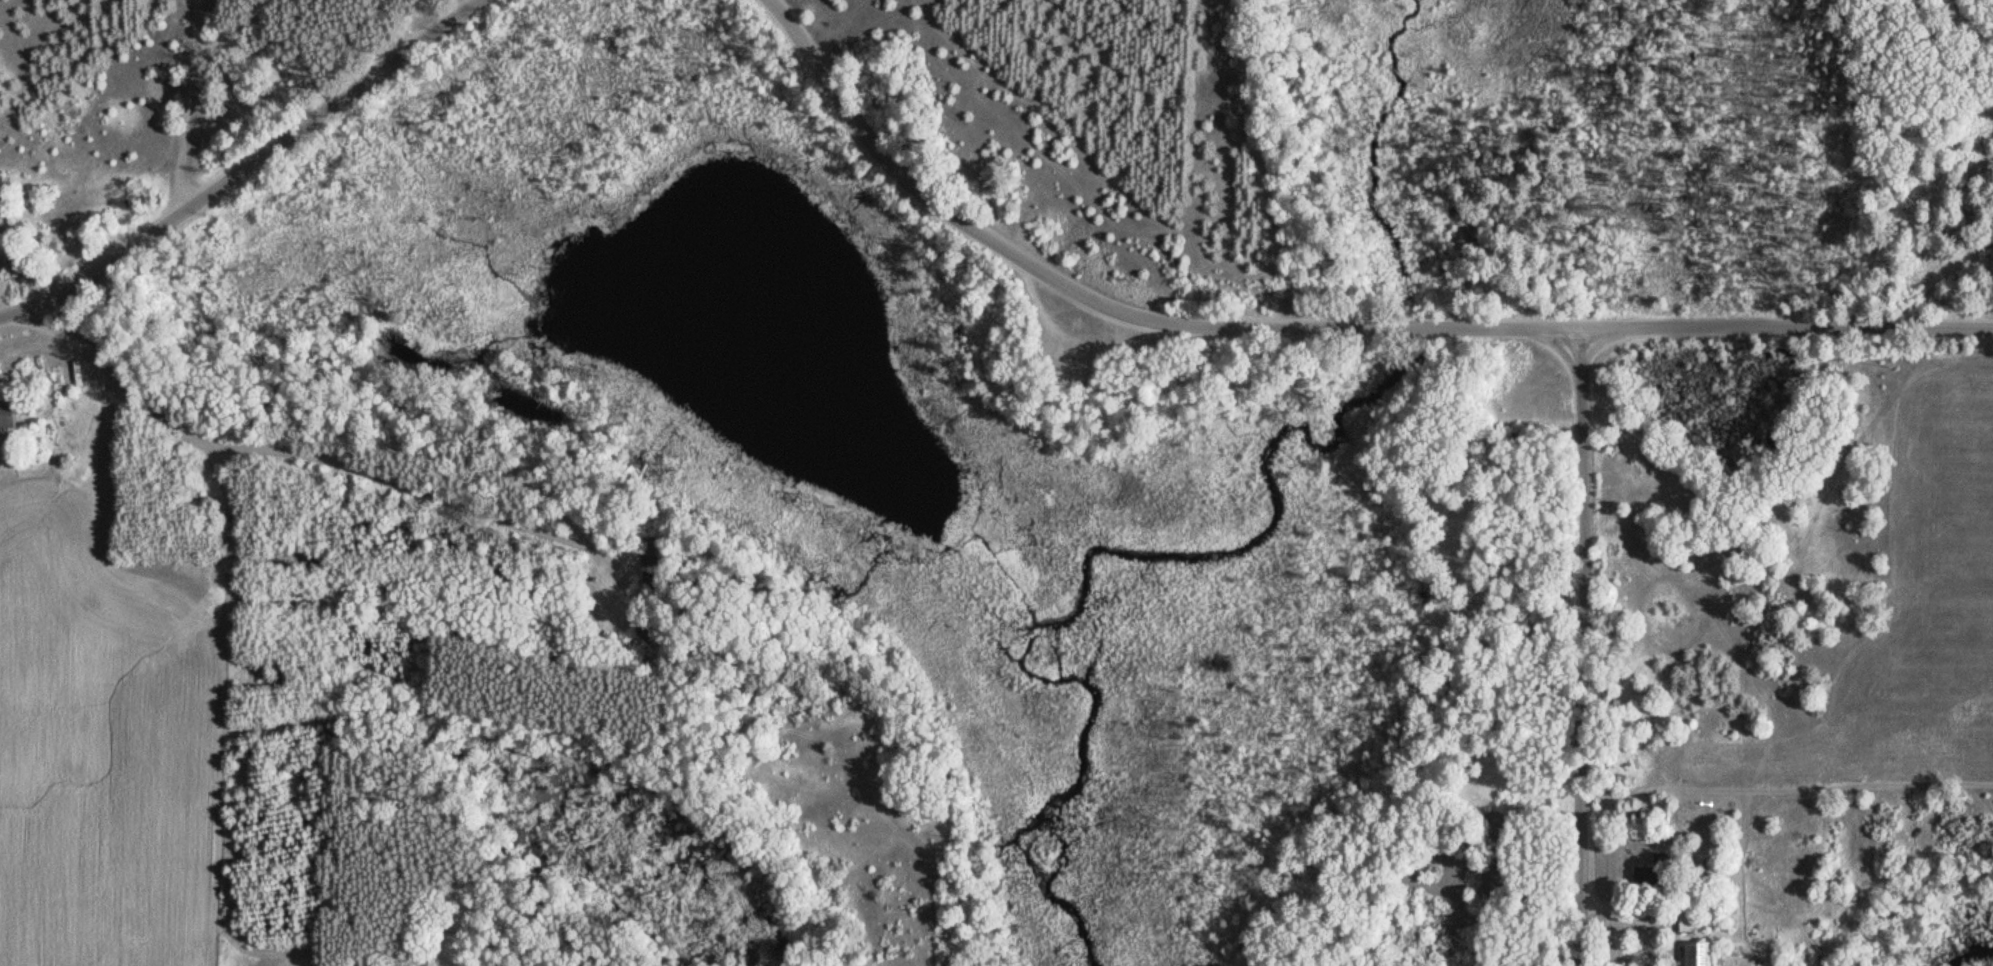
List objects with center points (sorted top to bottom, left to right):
road: (1954, 58)
road: (177, 109)
road: (1245, 162)
road: (241, 167)
road: (1314, 324)
building: (11, 416)
road: (426, 467)
road: (266, 583)
building: (656, 633)
road: (1581, 647)
road: (1778, 787)
building: (1657, 860)
building: (1684, 920)
road: (912, 931)
building: (1691, 954)

